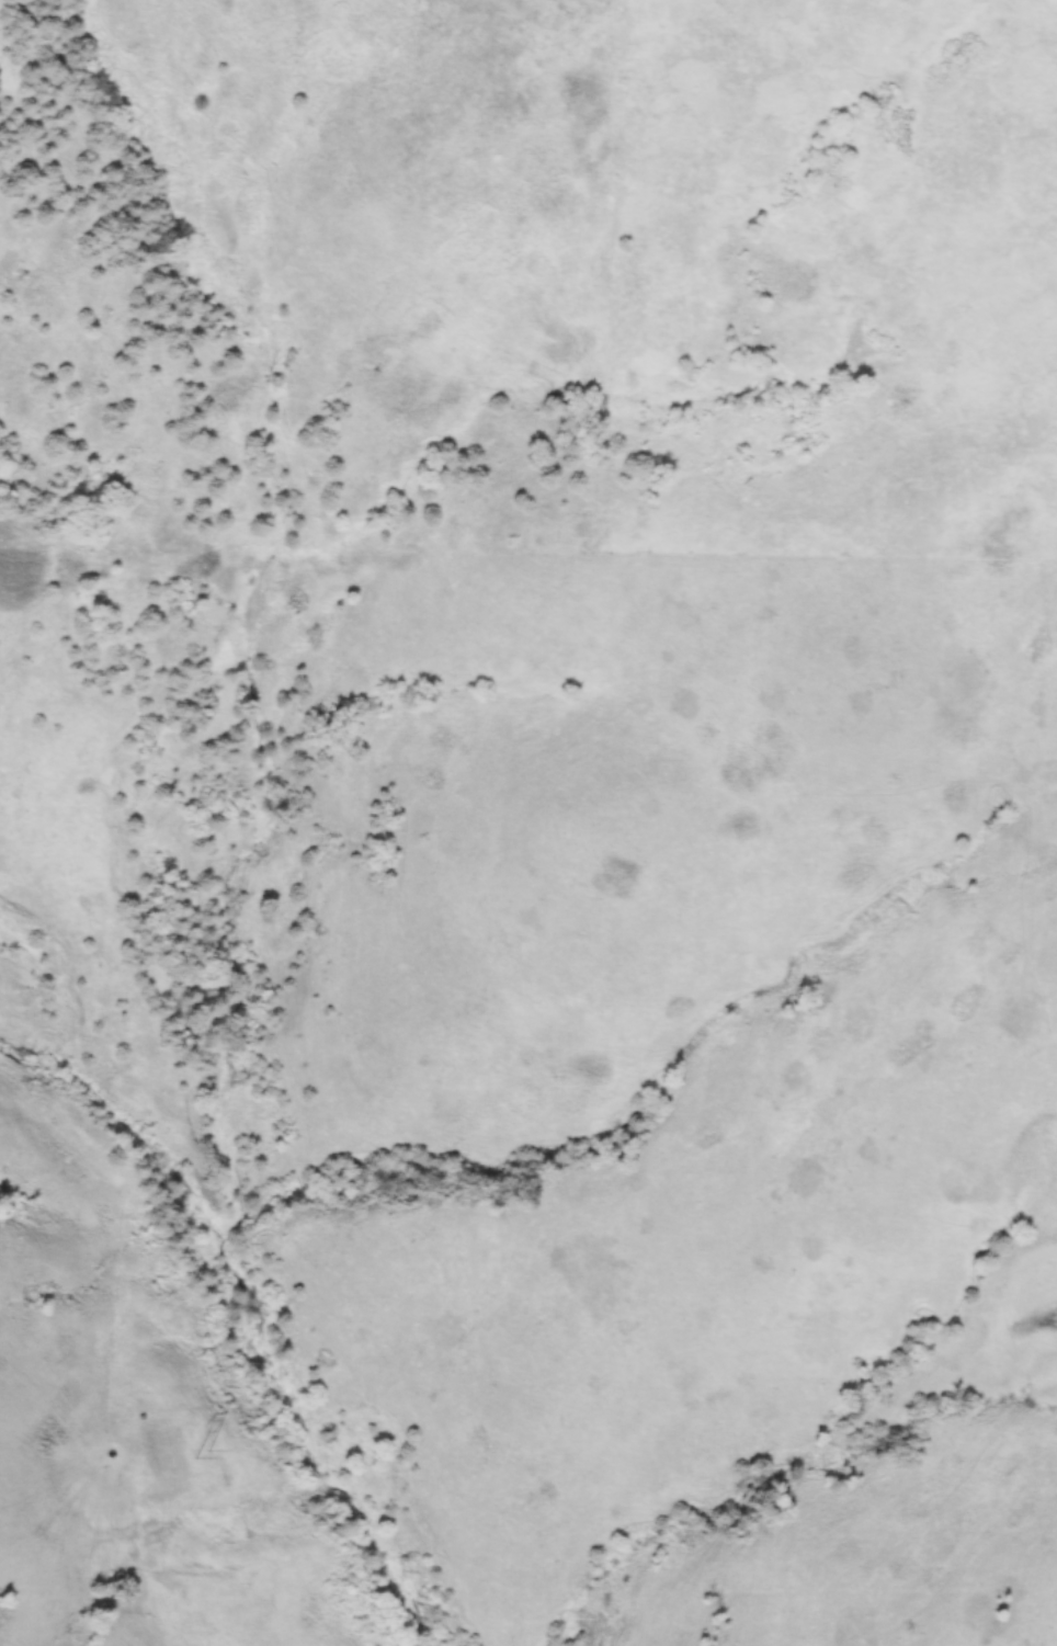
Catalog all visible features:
power tower: (194, 1454)

